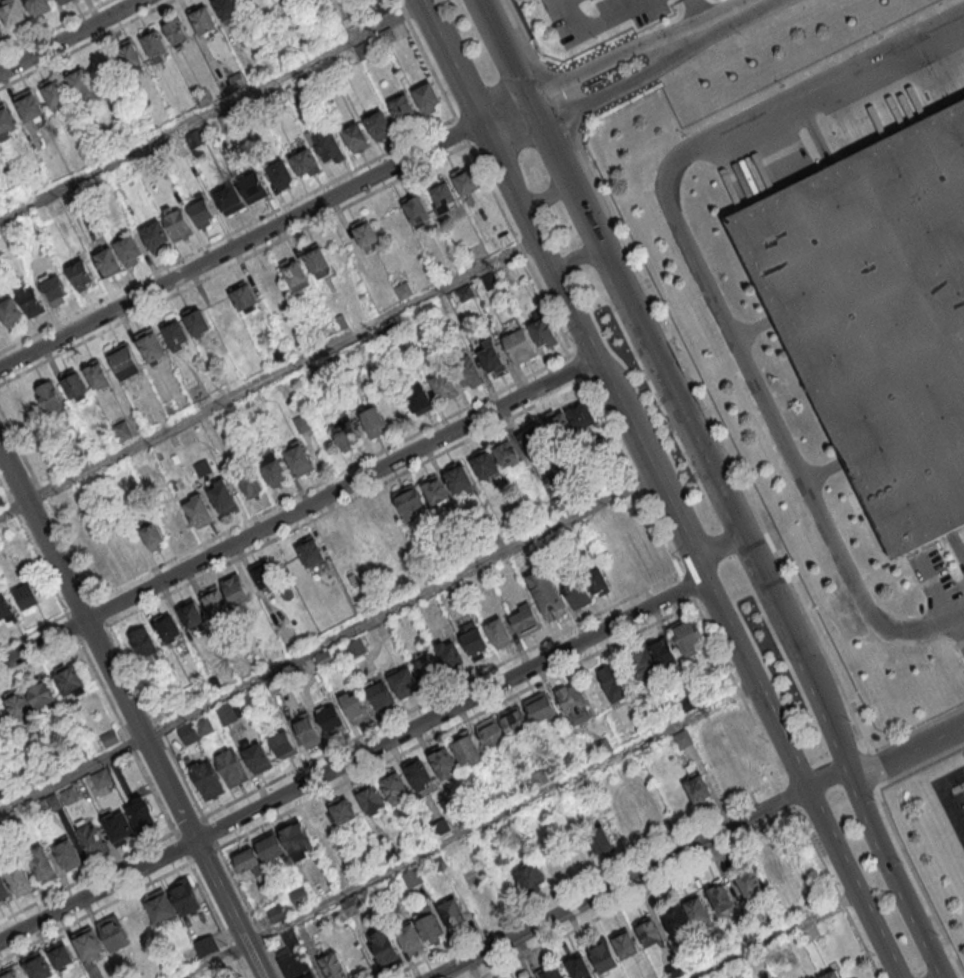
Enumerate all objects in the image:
building: (62, 1)
building: (38, 6)
building: (227, 9)
building: (11, 12)
parking lot: (588, 16)
building: (203, 19)
road: (725, 23)
road: (598, 24)
building: (175, 31)
building: (1, 32)
road: (69, 35)
building: (155, 44)
road: (679, 46)
building: (128, 55)
road: (450, 61)
building: (82, 84)
building: (56, 95)
building: (426, 99)
building: (28, 106)
building: (402, 110)
road: (210, 111)
road: (504, 111)
building: (6, 122)
building: (378, 125)
building: (354, 137)
building: (327, 145)
building: (305, 163)
building: (280, 174)
building: (465, 180)
building: (252, 187)
building: (442, 195)
road: (545, 198)
building: (228, 199)
building: (416, 210)
building: (202, 214)
building: (176, 222)
building: (365, 232)
building: (155, 236)
road: (240, 246)
building: (129, 250)
building: (316, 258)
road: (577, 258)
road: (547, 261)
building: (108, 262)
building: (80, 274)
building: (295, 274)
road: (708, 287)
building: (53, 288)
building: (243, 297)
building: (29, 299)
building: (10, 311)
building: (881, 313)
building: (196, 320)
building: (543, 333)
building: (175, 334)
building: (150, 344)
building: (518, 345)
building: (491, 358)
building: (123, 360)
building: (468, 372)
building: (97, 374)
road: (267, 376)
building: (74, 386)
building: (444, 386)
building: (49, 396)
building: (419, 398)
building: (373, 422)
building: (570, 422)
building: (121, 431)
road: (628, 431)
building: (344, 432)
building: (533, 439)
building: (505, 452)
building: (298, 458)
building: (484, 463)
building: (272, 469)
building: (458, 477)
building: (250, 484)
road: (715, 485)
building: (434, 489)
building: (221, 496)
building: (409, 501)
building: (197, 510)
road: (297, 512)
road: (671, 521)
road: (682, 521)
building: (173, 522)
building: (152, 535)
building: (310, 551)
building: (262, 573)
building: (596, 580)
building: (237, 590)
building: (576, 592)
building: (546, 594)
building: (26, 596)
building: (214, 600)
building: (5, 608)
building: (190, 613)
building: (524, 619)
building: (167, 626)
building: (498, 632)
building: (688, 637)
building: (473, 639)
road: (324, 642)
building: (143, 645)
building: (355, 647)
building: (450, 654)
building: (652, 659)
building: (427, 665)
building: (70, 681)
building: (403, 681)
building: (613, 681)
building: (40, 693)
building: (379, 693)
building: (573, 703)
building: (19, 705)
building: (354, 706)
building: (540, 708)
building: (225, 713)
road: (130, 715)
building: (330, 717)
building: (2, 720)
building: (514, 720)
building: (306, 730)
building: (490, 732)
building: (682, 738)
building: (283, 745)
building: (466, 750)
building: (256, 757)
road: (350, 759)
building: (443, 762)
road: (885, 763)
building: (231, 767)
building: (419, 775)
building: (101, 778)
building: (206, 779)
road: (799, 779)
building: (394, 786)
building: (698, 787)
building: (370, 796)
road: (948, 796)
parking lot: (952, 802)
building: (342, 810)
building: (141, 813)
building: (318, 822)
building: (118, 827)
road: (463, 830)
building: (92, 838)
building: (600, 839)
building: (297, 840)
building: (270, 847)
building: (67, 854)
building: (247, 861)
building: (41, 864)
building: (774, 870)
building: (529, 876)
building: (18, 879)
road: (617, 883)
building: (749, 884)
building: (3, 889)
building: (183, 896)
building: (299, 896)
building: (721, 897)
building: (482, 899)
building: (353, 904)
building: (159, 906)
building: (698, 912)
building: (451, 913)
building: (675, 919)
building: (427, 922)
building: (648, 930)
building: (112, 932)
road: (776, 937)
building: (409, 938)
building: (624, 943)
building: (88, 944)
building: (386, 947)
building: (602, 953)
building: (59, 954)
building: (292, 958)
building: (37, 965)
building: (333, 965)
building: (577, 966)
building: (673, 968)
building: (9, 972)
building: (550, 972)
building: (832, 972)
building: (526, 977)
building: (815, 977)

